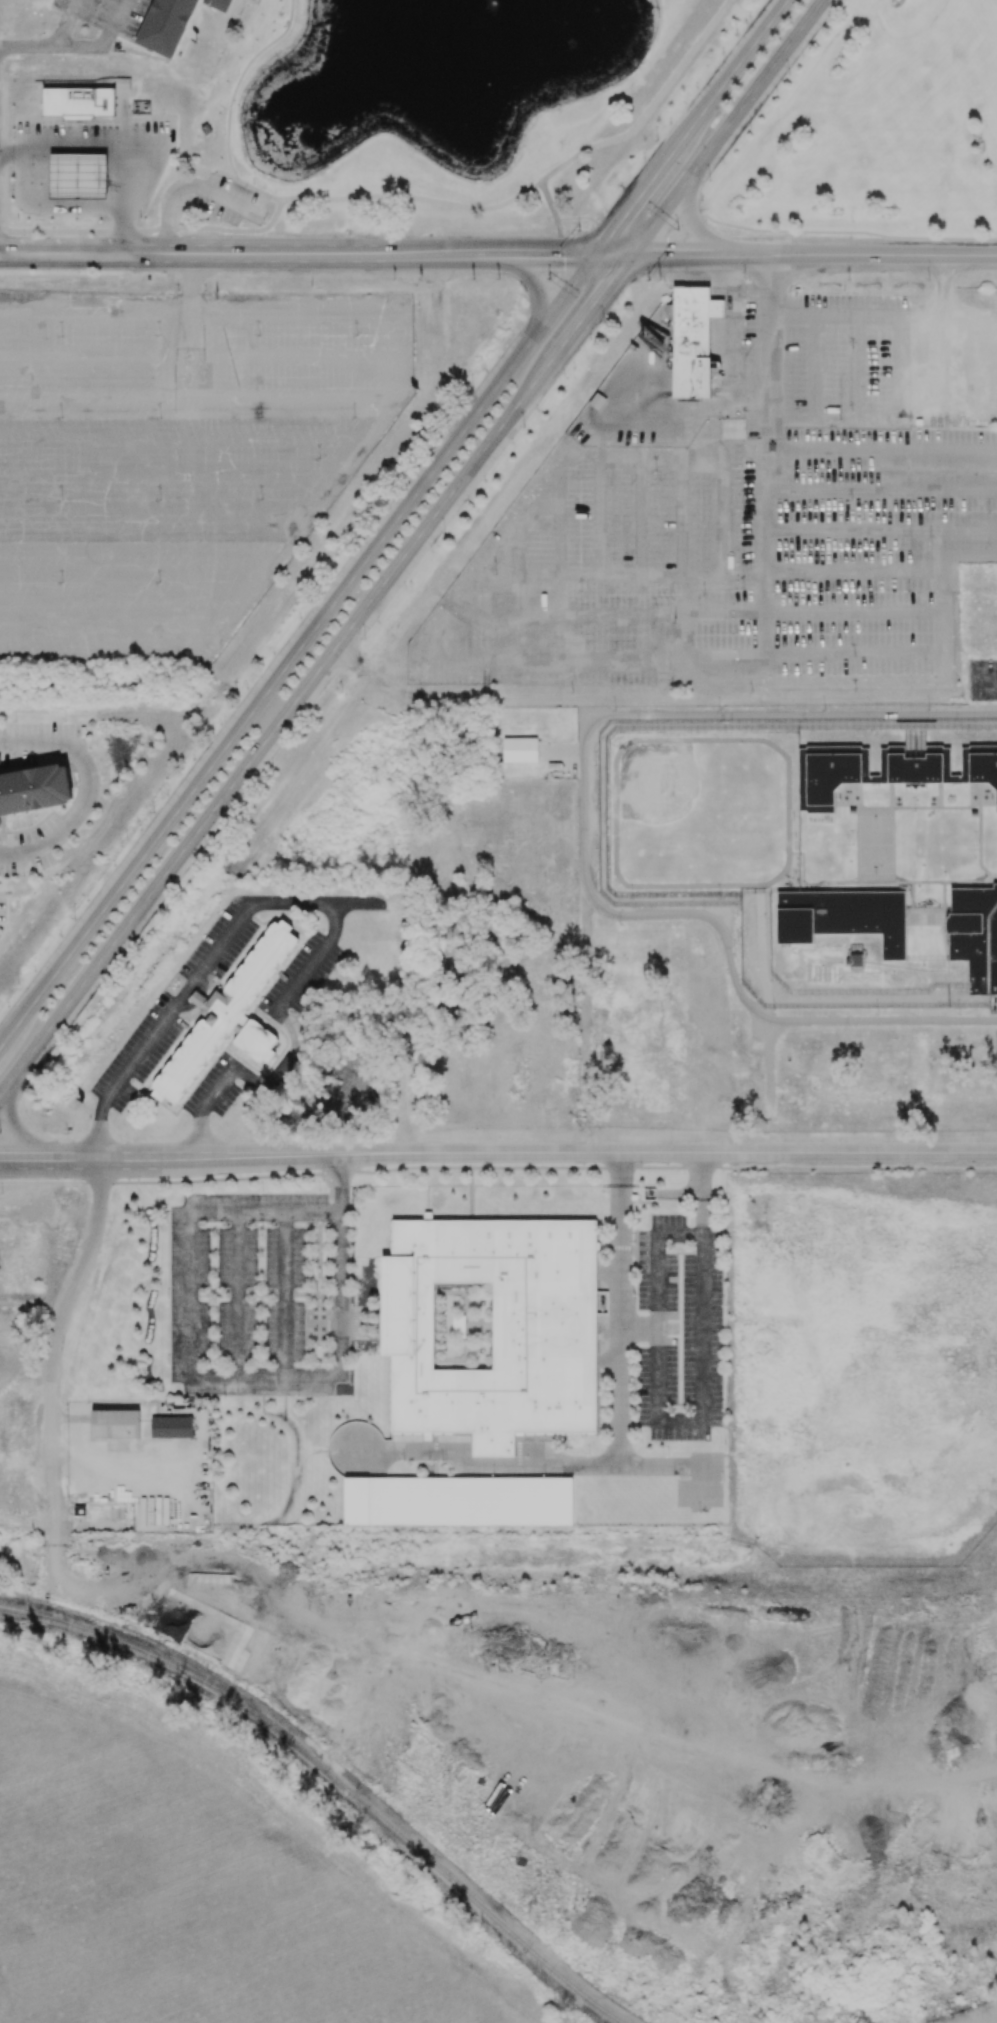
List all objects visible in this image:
fountain: (433, 6)
fountain: (470, 17)
road: (64, 23)
building: (171, 24)
street lamp: (281, 28)
street lamp: (42, 33)
street lamp: (736, 34)
road: (102, 42)
road: (27, 46)
fountain: (475, 55)
road: (731, 74)
street lamp: (237, 75)
street lamp: (790, 75)
road: (239, 81)
building: (78, 101)
road: (650, 108)
street lamp: (163, 113)
park: (437, 116)
building: (77, 117)
road: (726, 126)
building: (205, 130)
park: (873, 132)
street lamp: (223, 134)
street lamp: (12, 137)
street lamp: (656, 139)
road: (115, 141)
building: (77, 176)
road: (229, 177)
street lamp: (709, 180)
street lamp: (252, 183)
street lamp: (12, 190)
road: (257, 190)
road: (412, 197)
street lamp: (179, 200)
road: (230, 201)
road: (635, 201)
parking lot: (235, 203)
road: (168, 206)
road: (554, 216)
street lamp: (139, 217)
street lamp: (219, 222)
road: (692, 223)
street lamp: (263, 224)
street lamp: (675, 229)
street lamp: (580, 230)
road: (771, 231)
road: (150, 232)
street lamp: (21, 235)
street lamp: (93, 235)
road: (64, 253)
road: (255, 253)
road: (428, 253)
road: (535, 253)
traffic signals: (595, 254)
road: (612, 254)
traffic signals: (630, 254)
road: (686, 254)
road: (869, 254)
street lamp: (77, 272)
street lamp: (548, 278)
road: (531, 280)
street lamp: (648, 280)
street lamp: (743, 280)
street lamp: (928, 280)
road: (191, 296)
road: (941, 300)
road: (595, 301)
road: (343, 307)
street lamp: (603, 322)
street lamp: (511, 335)
building: (692, 340)
street lamp: (851, 348)
road: (552, 358)
road: (98, 364)
street lamp: (563, 374)
street lamp: (471, 388)
street lamp: (852, 411)
street lamp: (743, 416)
street lamp: (839, 419)
road: (869, 420)
street lamp: (523, 427)
road: (359, 436)
road: (171, 460)
parking lot: (174, 460)
street lamp: (406, 476)
parking lot: (733, 523)
street lamp: (443, 533)
street lamp: (313, 600)
street lamp: (364, 638)
road: (297, 651)
road: (347, 655)
parking lot: (983, 680)
road: (986, 680)
road: (789, 715)
road: (271, 730)
building: (520, 750)
road: (781, 752)
building: (885, 770)
road: (861, 785)
building: (34, 789)
road: (89, 790)
road: (891, 795)
road: (940, 795)
building: (996, 805)
road: (993, 806)
road: (958, 807)
park: (700, 813)
building: (0, 825)
park: (875, 844)
road: (857, 845)
road: (893, 845)
road: (802, 864)
road: (898, 882)
road: (912, 895)
road: (944, 895)
road: (317, 904)
building: (843, 918)
road: (945, 921)
road: (723, 933)
building: (975, 935)
building: (854, 960)
road: (927, 970)
building: (223, 1012)
building: (256, 1041)
road: (771, 1088)
road: (13, 1121)
road: (669, 1155)
road: (170, 1158)
building: (491, 1328)
road: (637, 1328)
road: (55, 1336)
road: (212, 1375)
building: (115, 1424)
road: (697, 1425)
building: (171, 1427)
road: (619, 1436)
road: (111, 1453)
road: (641, 1464)
building: (458, 1501)
railway: (333, 1777)

